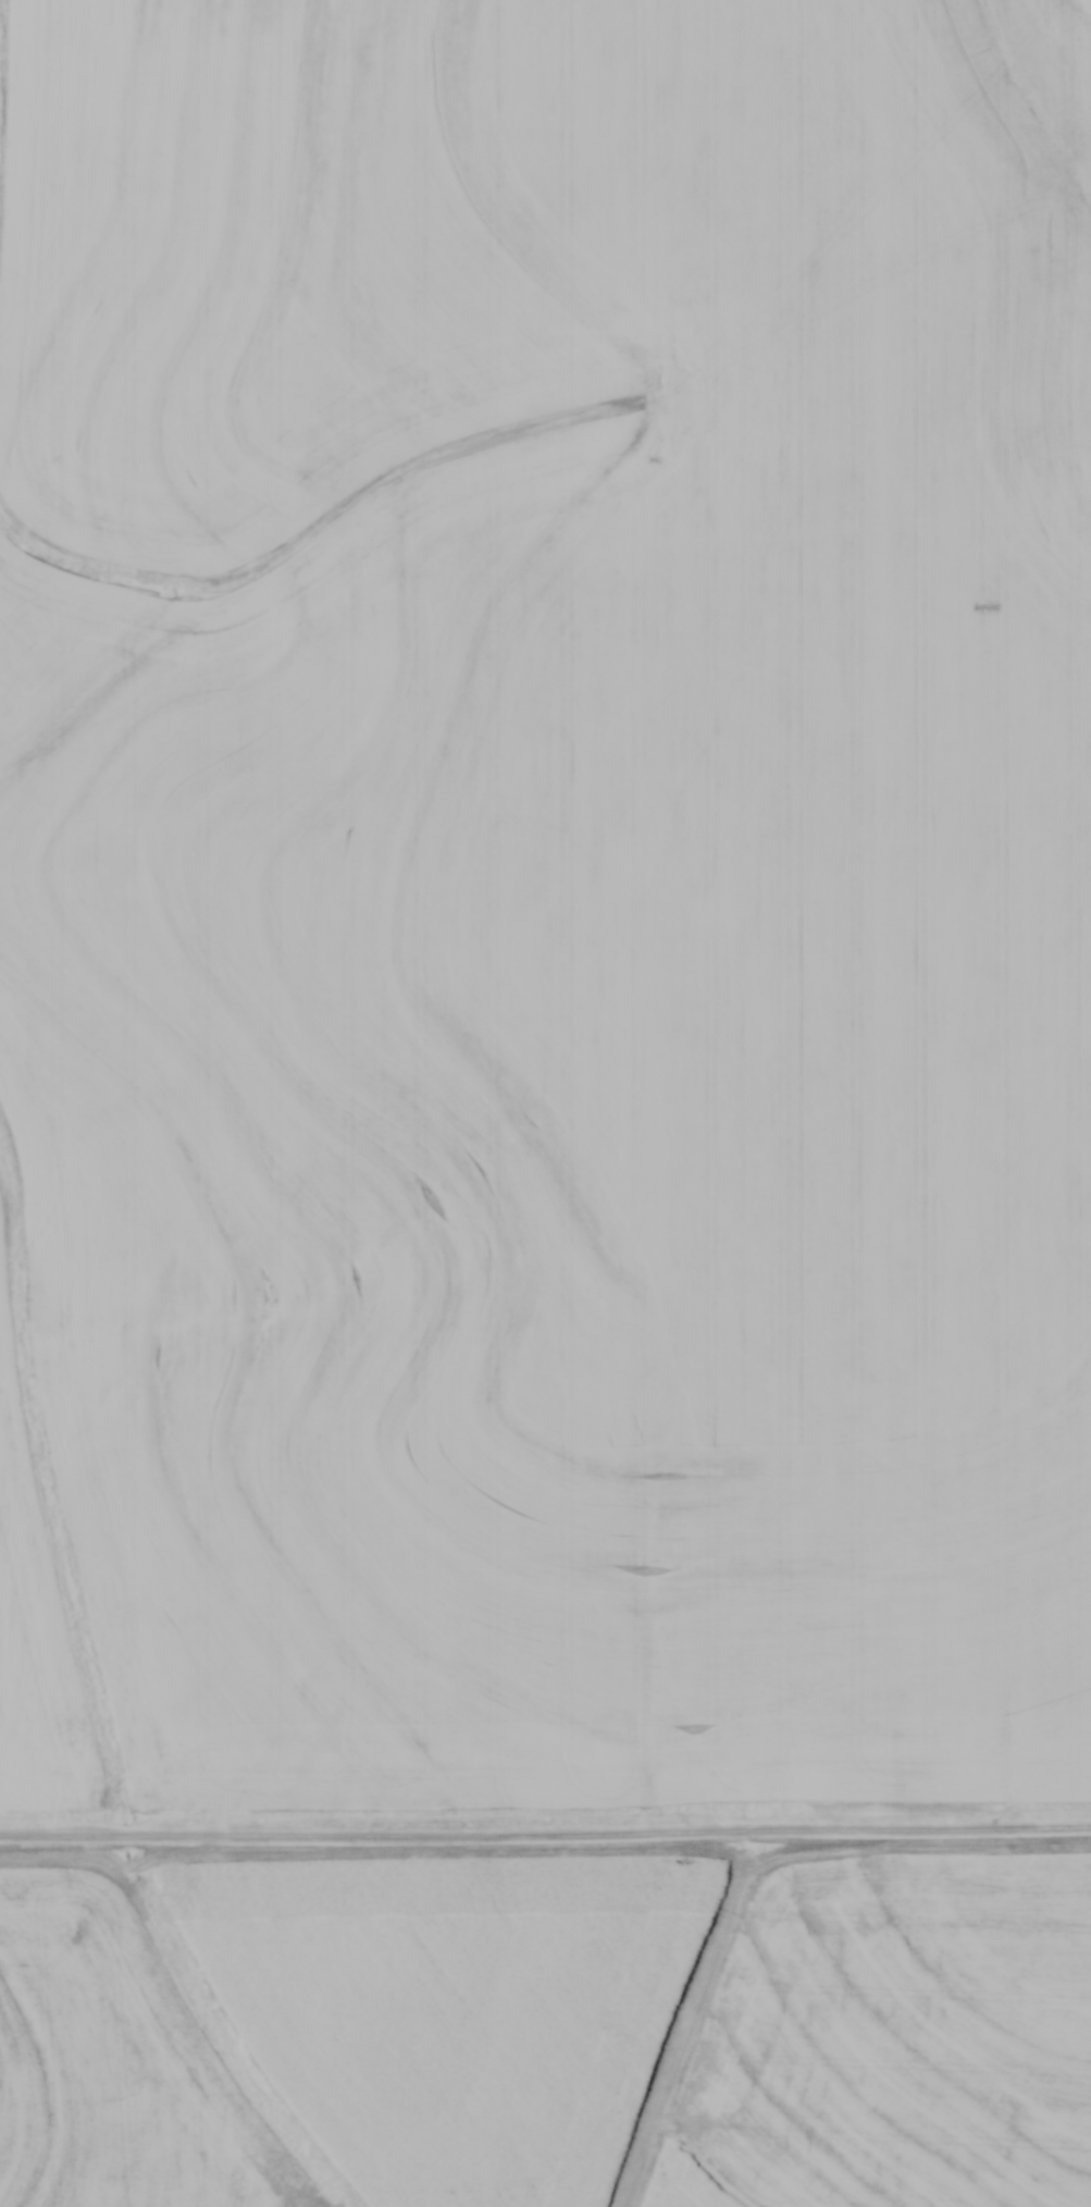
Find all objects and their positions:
road: (545, 1836)

